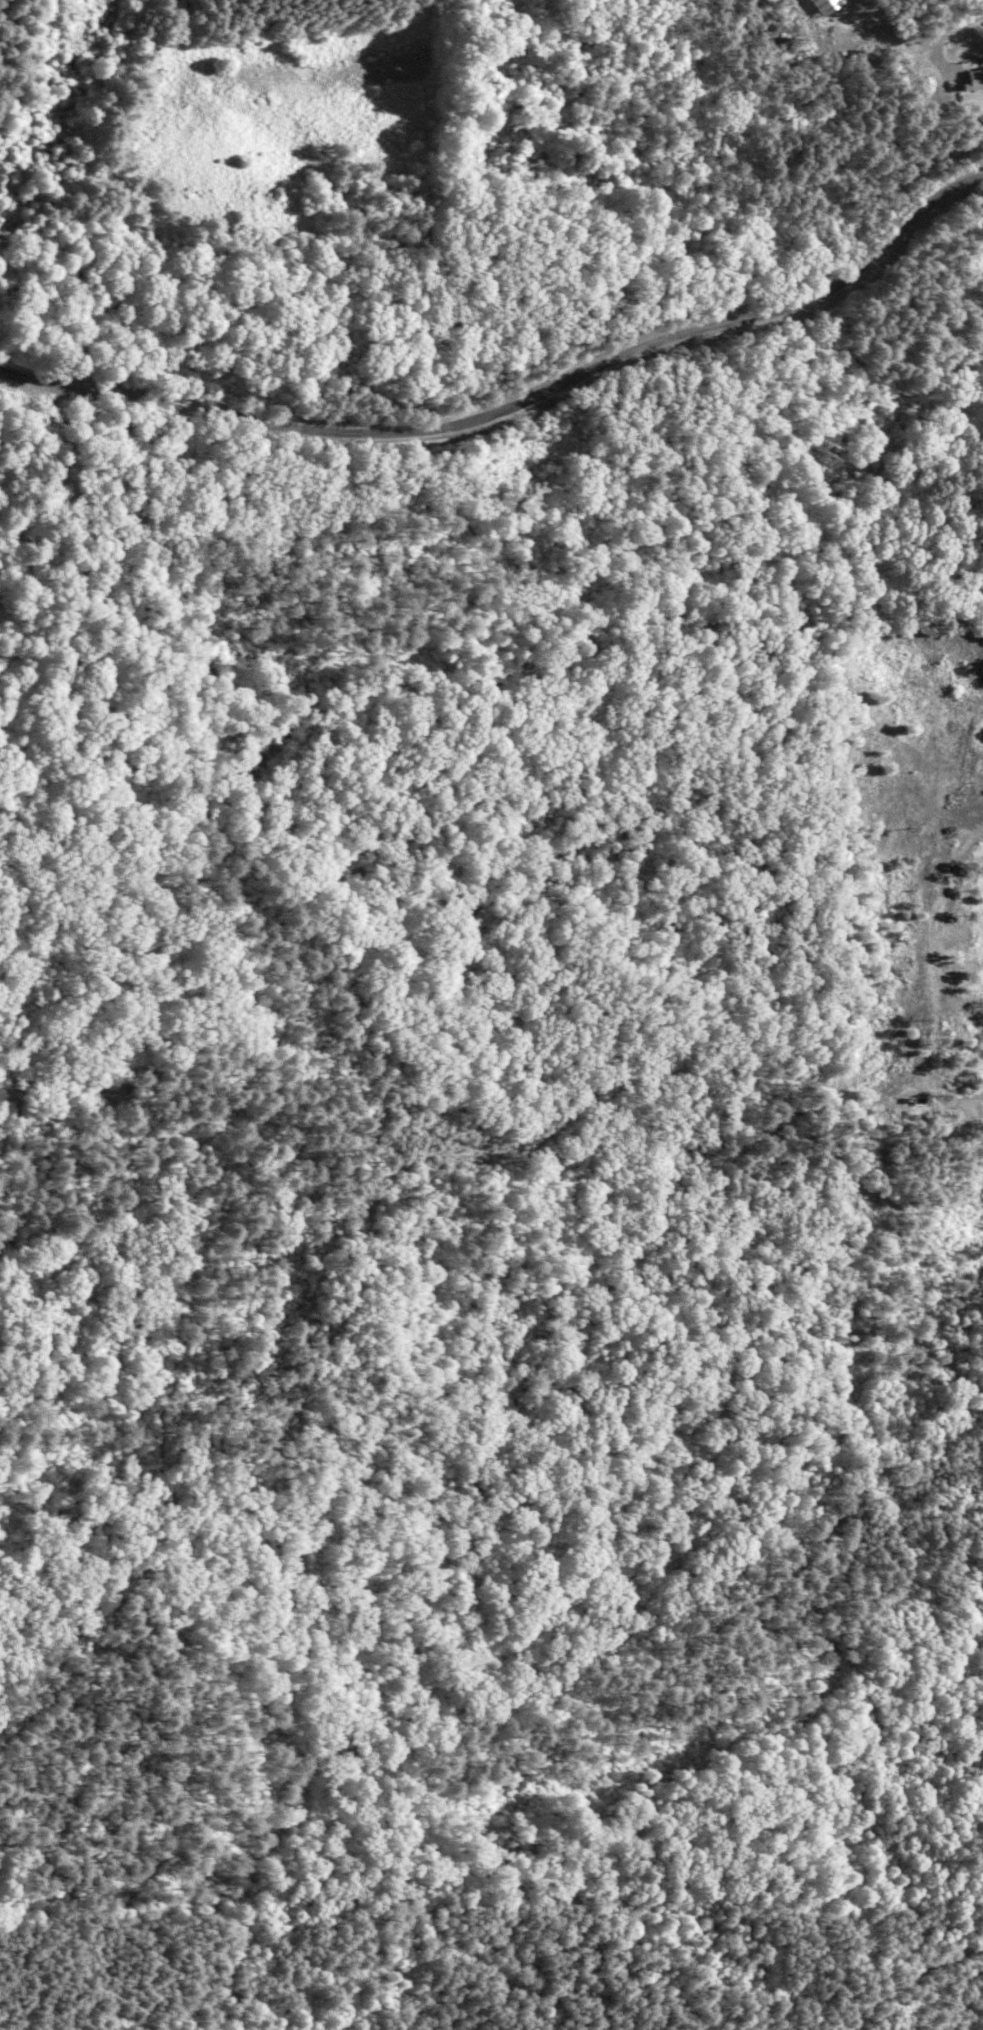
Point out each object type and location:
building: (969, 78)
road: (517, 403)

